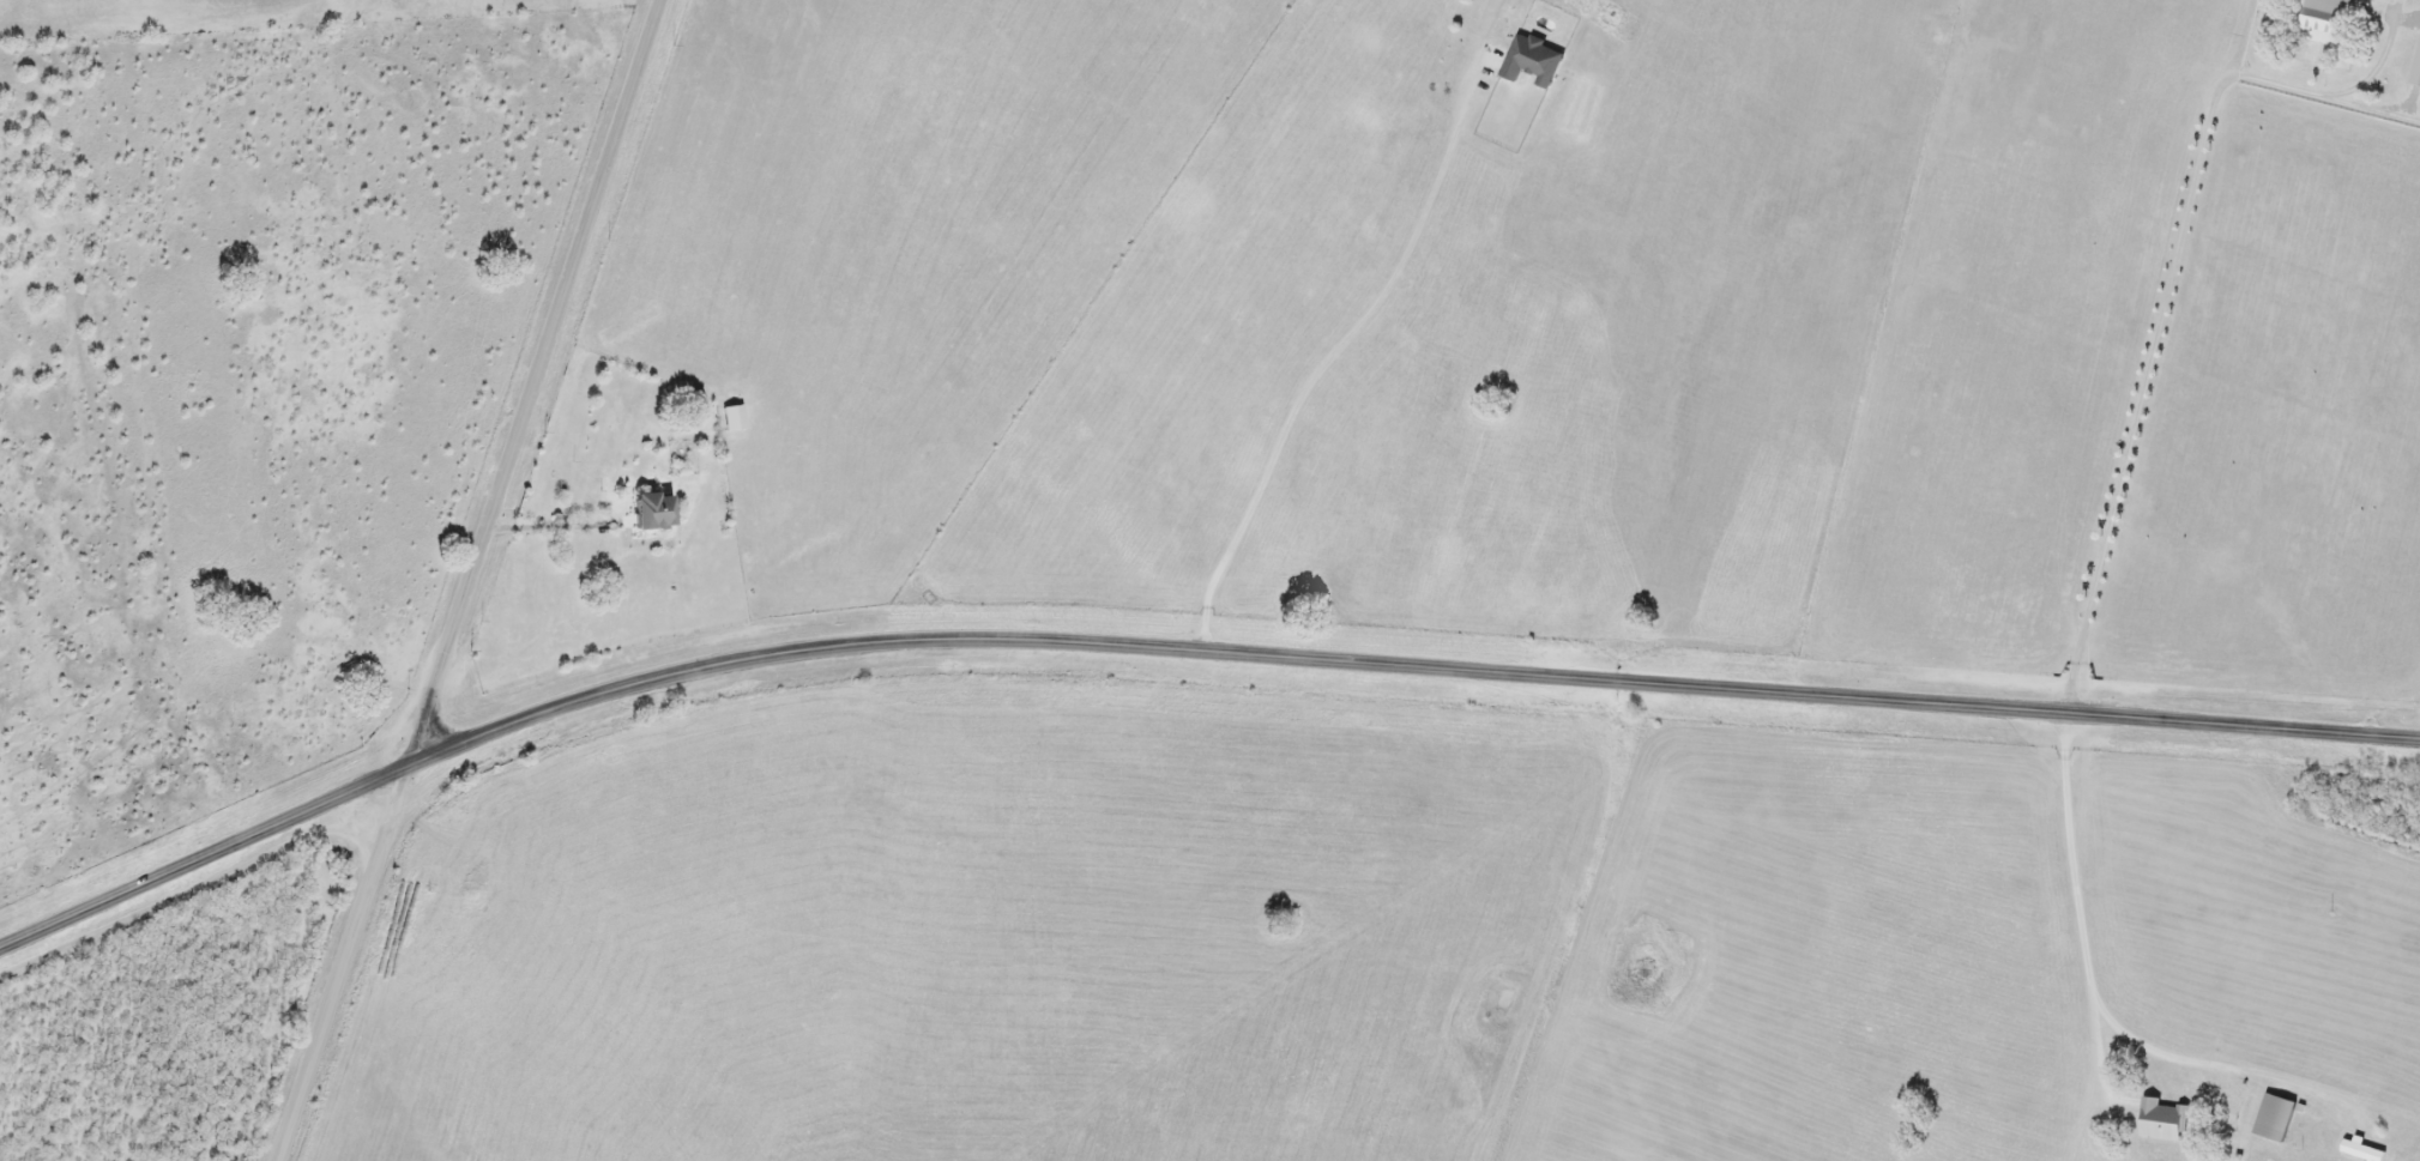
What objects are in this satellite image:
building: (2324, 20)
building: (1531, 59)
building: (2416, 73)
road: (2159, 327)
road: (1334, 351)
building: (734, 417)
building: (651, 509)
road: (550, 524)
road: (464, 582)
road: (1182, 648)
road: (2082, 931)
building: (2275, 1117)
building: (2162, 1120)
building: (2361, 1150)

